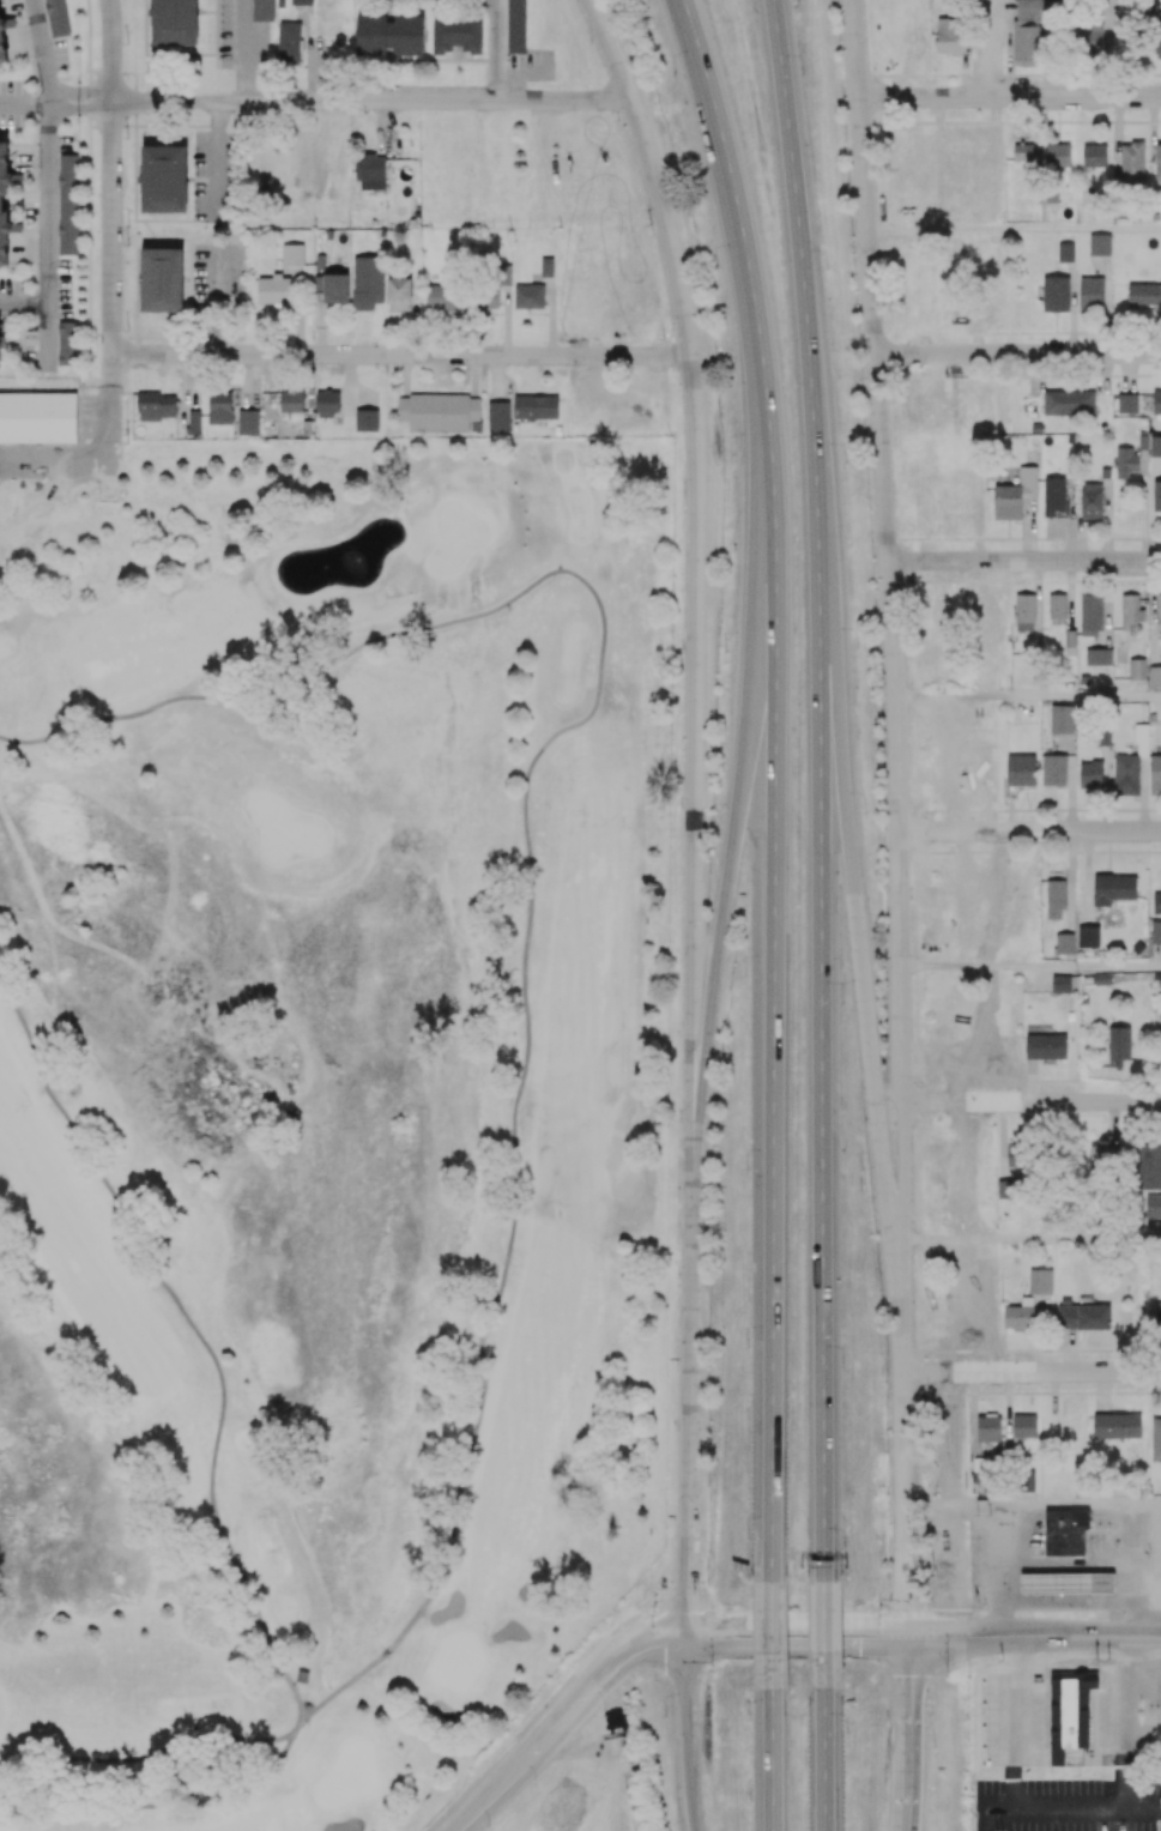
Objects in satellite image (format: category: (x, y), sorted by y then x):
road: (244, 50)
road: (494, 50)
road: (43, 52)
road: (925, 71)
street lamp: (672, 73)
street lamp: (804, 73)
road: (1057, 98)
road: (343, 101)
road: (24, 103)
road: (65, 104)
road: (97, 104)
street lamp: (878, 125)
road: (217, 159)
road: (587, 175)
road: (113, 176)
road: (49, 206)
road: (1063, 229)
road: (738, 236)
road: (968, 248)
street lamp: (716, 266)
street lamp: (828, 268)
road: (214, 301)
road: (24, 308)
street lamp: (887, 330)
street lamp: (664, 336)
road: (49, 339)
road: (362, 353)
road: (1088, 353)
road: (113, 386)
road: (95, 418)
building: (38, 421)
street lamp: (731, 457)
street lamp: (847, 463)
road: (79, 464)
street lamp: (683, 491)
road: (1059, 560)
street lamp: (956, 573)
street lamp: (902, 588)
street lamp: (683, 646)
street lamp: (857, 648)
street lamp: (727, 652)
road: (1004, 696)
street lamp: (911, 714)
road: (671, 761)
road: (969, 802)
street lamp: (681, 808)
street lamp: (912, 809)
street lamp: (865, 811)
road: (951, 816)
street lamp: (713, 823)
road: (736, 826)
road: (1082, 830)
road: (530, 854)
street lamp: (681, 960)
road: (1071, 965)
street lamp: (744, 975)
street lamp: (843, 1003)
street lamp: (913, 1050)
street lamp: (725, 1057)
road: (976, 1095)
road: (1069, 1101)
park: (315, 1112)
street lamp: (681, 1120)
street lamp: (843, 1152)
street lamp: (746, 1170)
street lamp: (860, 1189)
road: (1063, 1240)
street lamp: (677, 1276)
road: (198, 1335)
street lamp: (746, 1347)
street lamp: (843, 1366)
road: (1066, 1371)
street lamp: (914, 1400)
road: (690, 1406)
street lamp: (676, 1428)
street lamp: (890, 1493)
road: (1068, 1506)
building: (1066, 1535)
street lamp: (749, 1537)
street lamp: (846, 1548)
street lamp: (914, 1569)
building: (1069, 1585)
street lamp: (654, 1603)
street lamp: (982, 1605)
street lamp: (882, 1607)
road: (919, 1609)
road: (1046, 1609)
road: (797, 1613)
road: (625, 1620)
road: (822, 1636)
road: (770, 1637)
traffic signals: (907, 1637)
road: (924, 1637)
traffic signals: (689, 1639)
street lamp: (1097, 1660)
street lamp: (712, 1672)
street lamp: (948, 1676)
building: (303, 1679)
road: (597, 1688)
street lamp: (603, 1709)
street lamp: (1141, 1710)
road: (908, 1711)
street lamp: (982, 1712)
building: (1070, 1712)
street lamp: (665, 1715)
street lamp: (750, 1720)
road: (297, 1726)
street lamp: (848, 1730)
road: (687, 1735)
street lamp: (935, 1747)
road: (504, 1750)
road: (150, 1758)
road: (823, 1760)
road: (772, 1761)
street lamp: (533, 1783)
park: (582, 1797)
road: (491, 1800)
road: (159, 1807)
road: (907, 1808)
road: (1066, 1809)
street lamp: (490, 1825)

